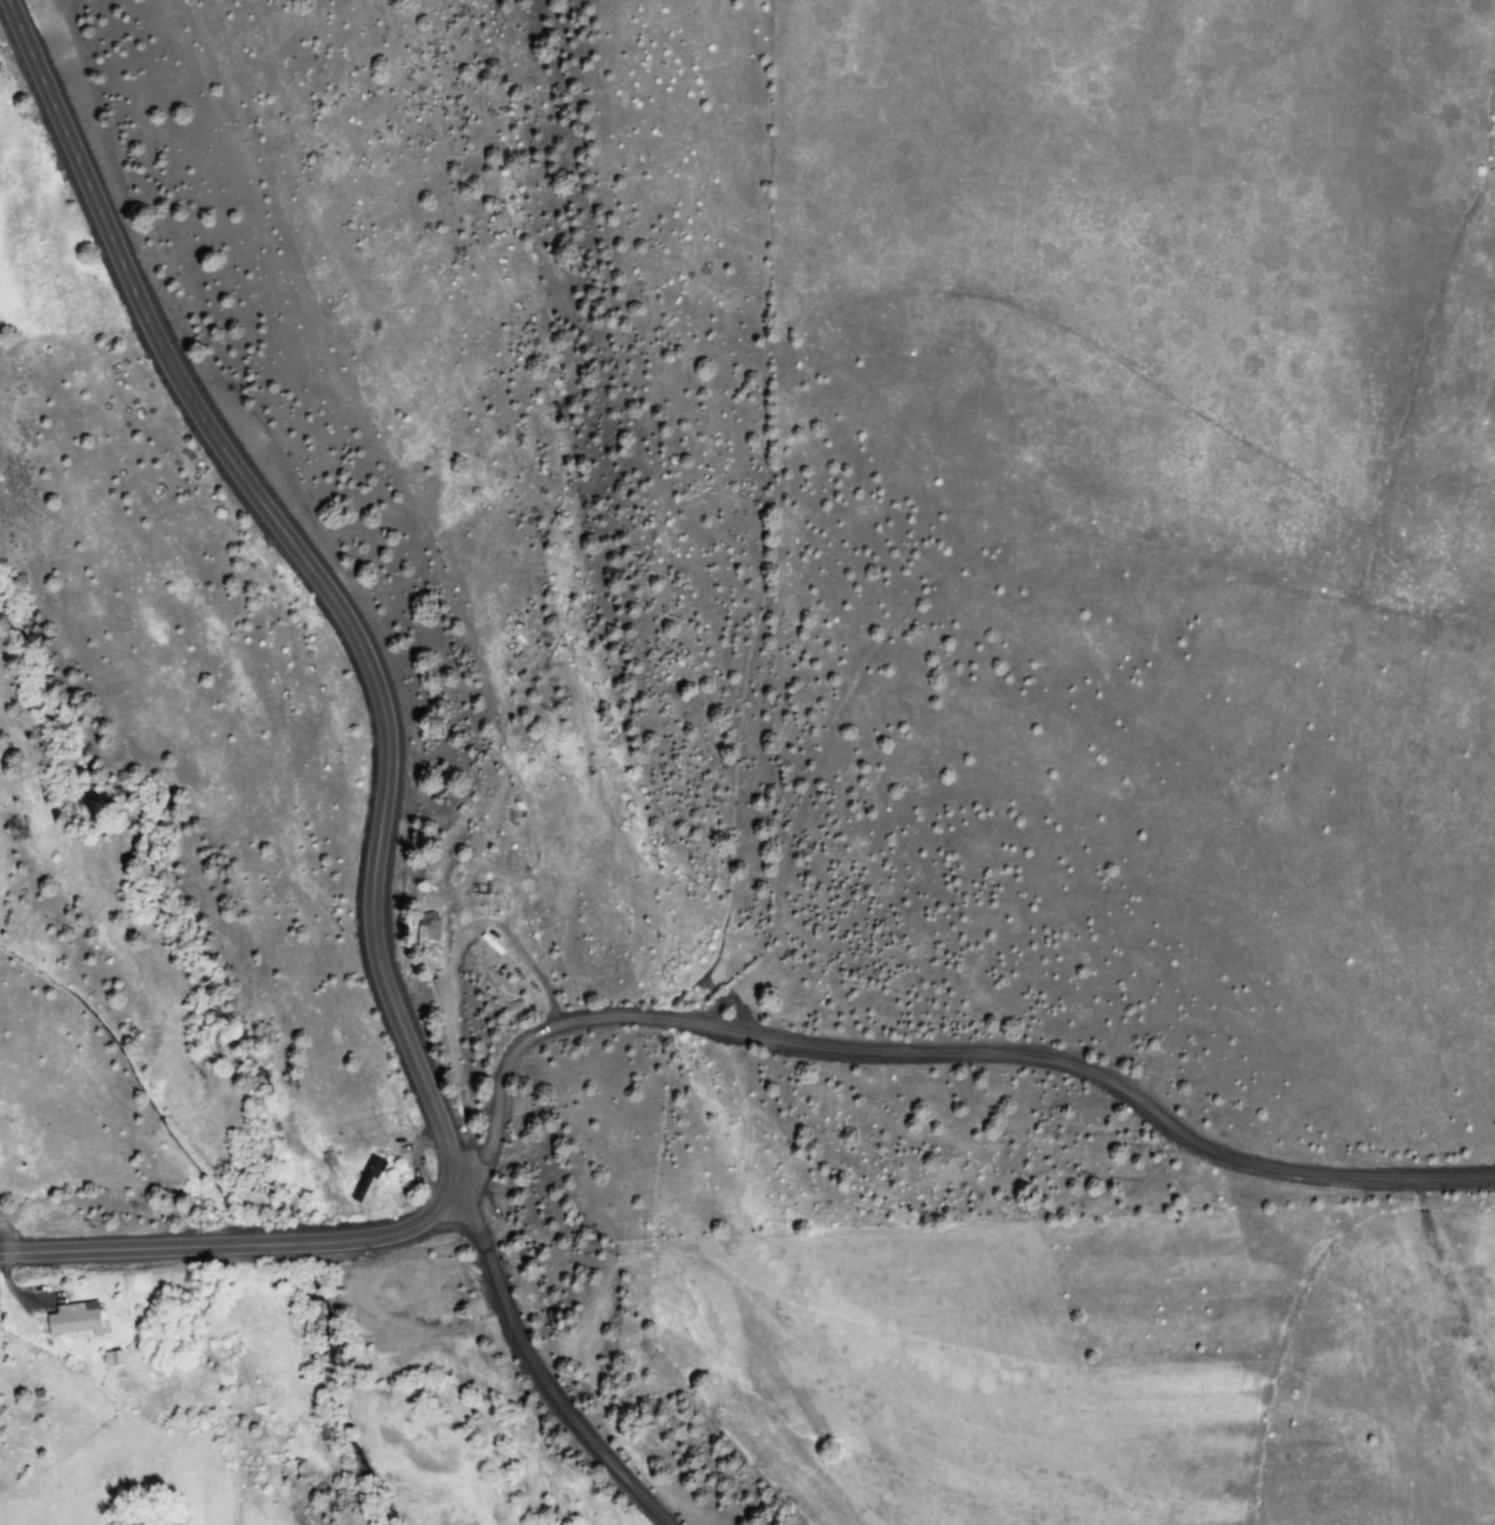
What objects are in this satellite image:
road: (311, 568)
road: (958, 1058)
building: (370, 1176)
road: (238, 1242)
building: (76, 1319)
road: (547, 1370)

